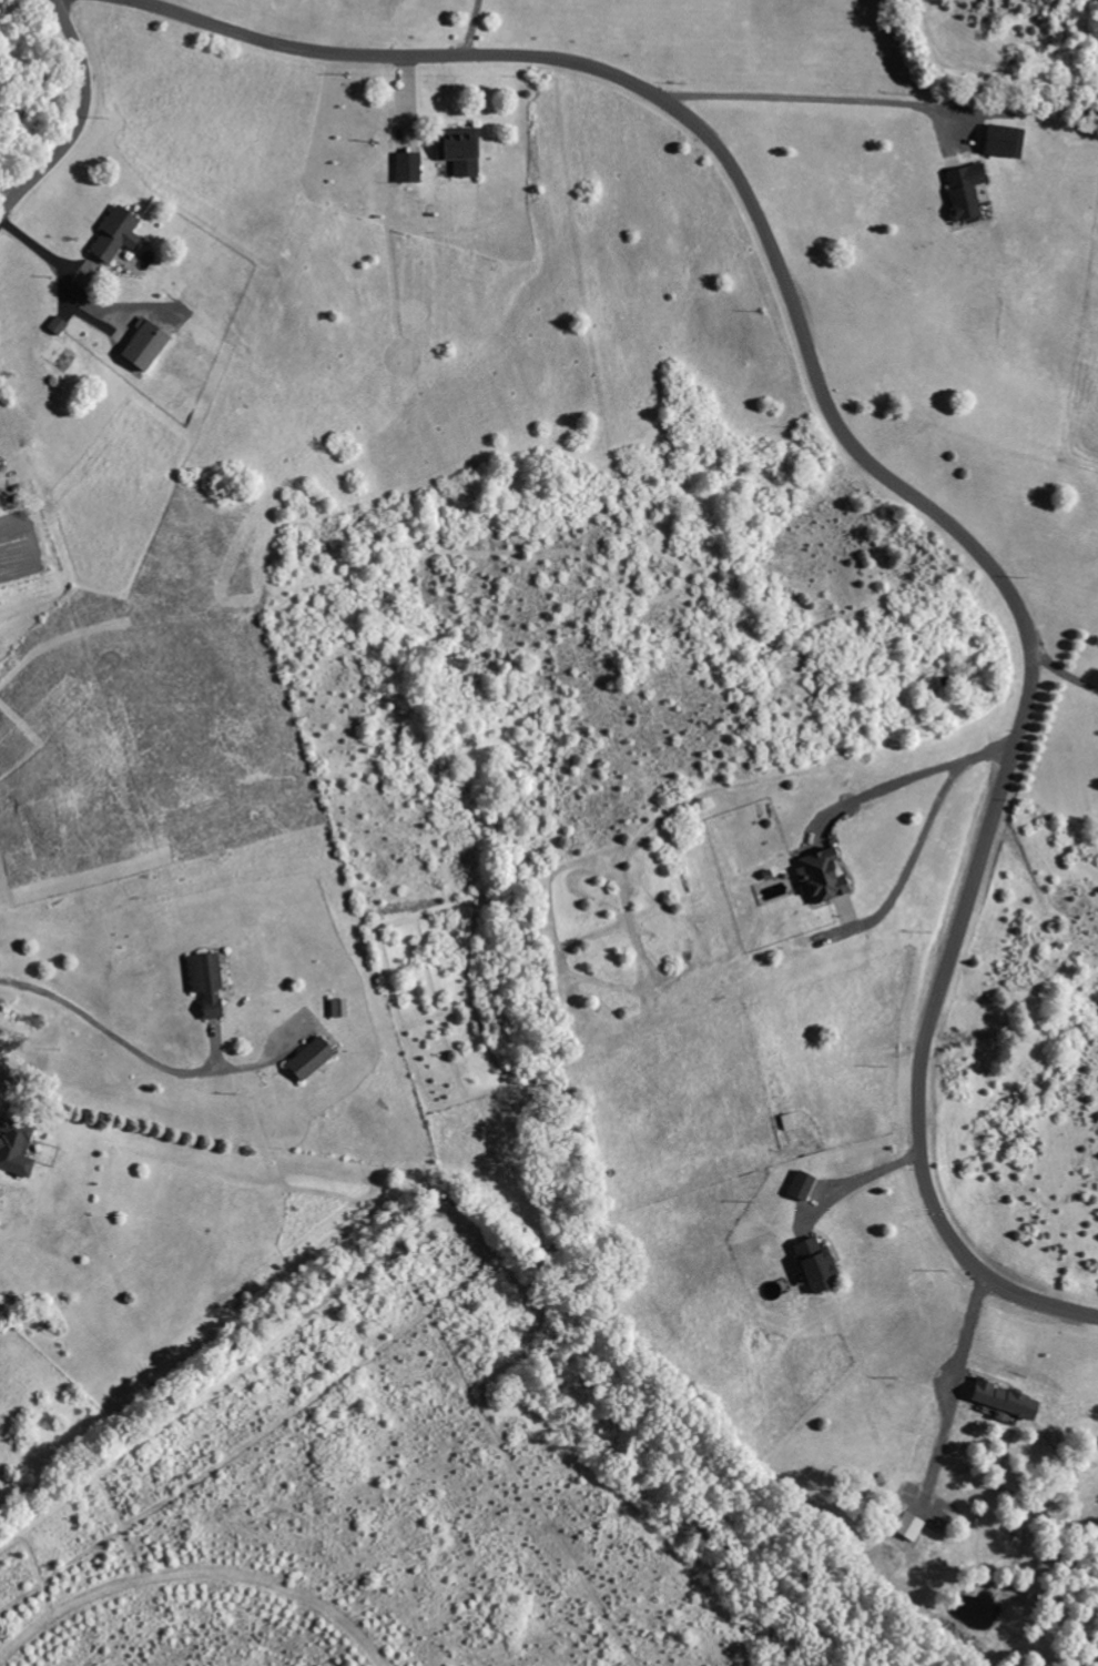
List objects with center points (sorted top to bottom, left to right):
road: (530, 58)
road: (82, 122)
building: (1007, 142)
building: (461, 151)
building: (409, 169)
building: (968, 191)
building: (119, 235)
building: (148, 345)
road: (1026, 697)
building: (824, 876)
building: (209, 982)
building: (342, 1008)
building: (313, 1059)
building: (790, 1122)
building: (17, 1149)
building: (804, 1185)
building: (820, 1265)
building: (1007, 1401)
building: (911, 1526)

